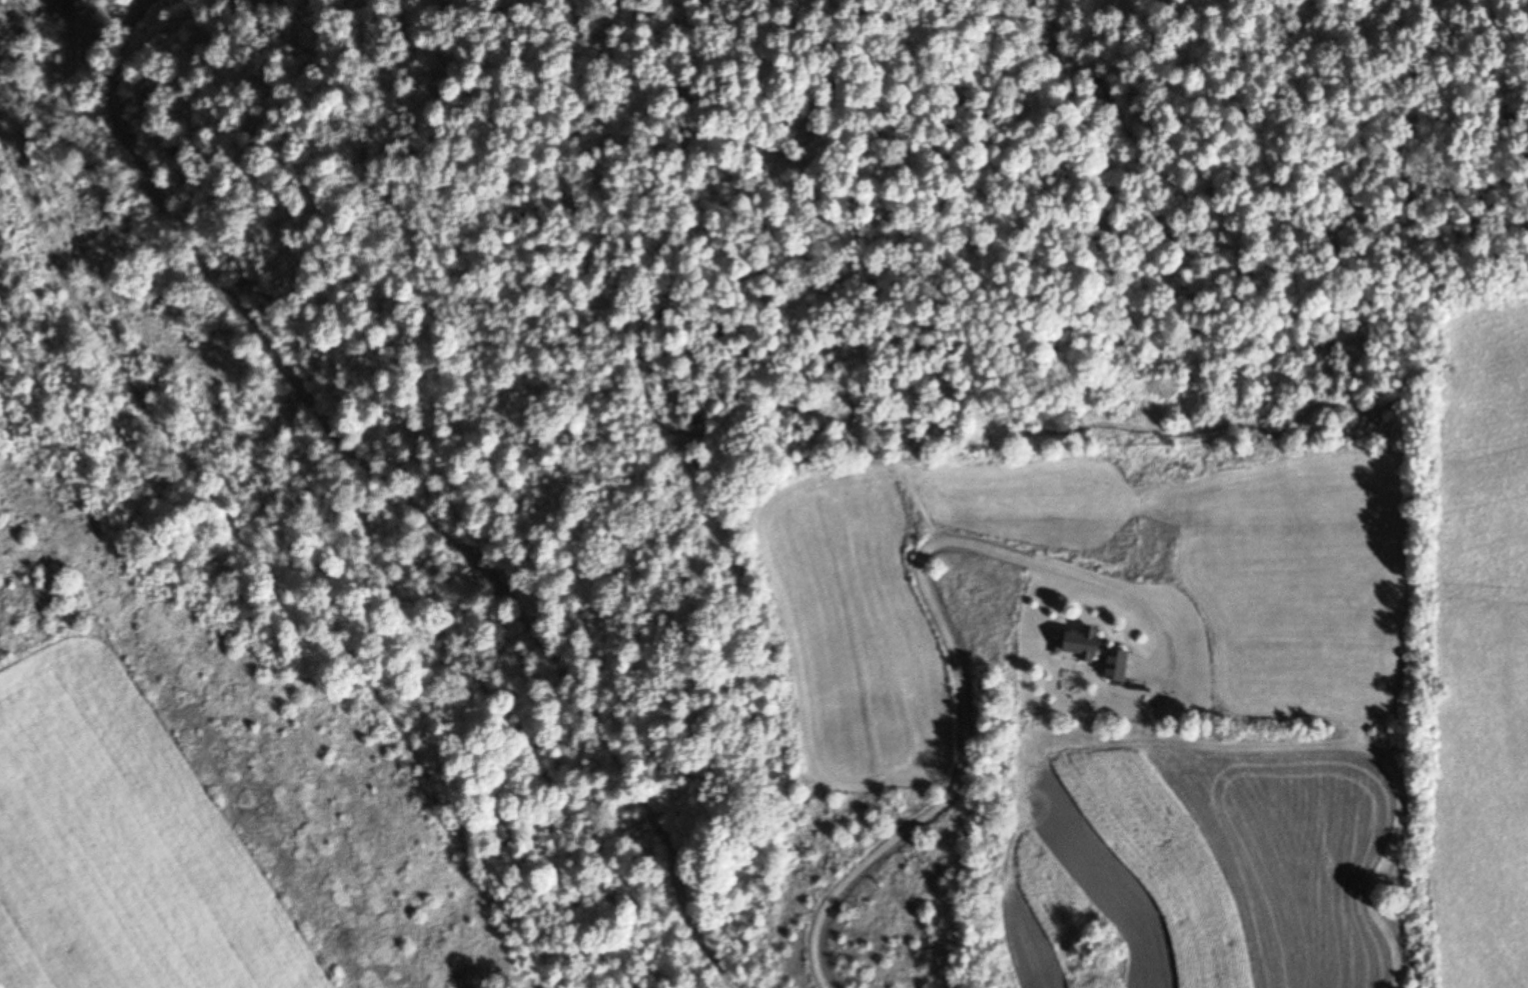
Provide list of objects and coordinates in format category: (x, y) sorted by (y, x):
road: (405, 492)
road: (952, 651)

